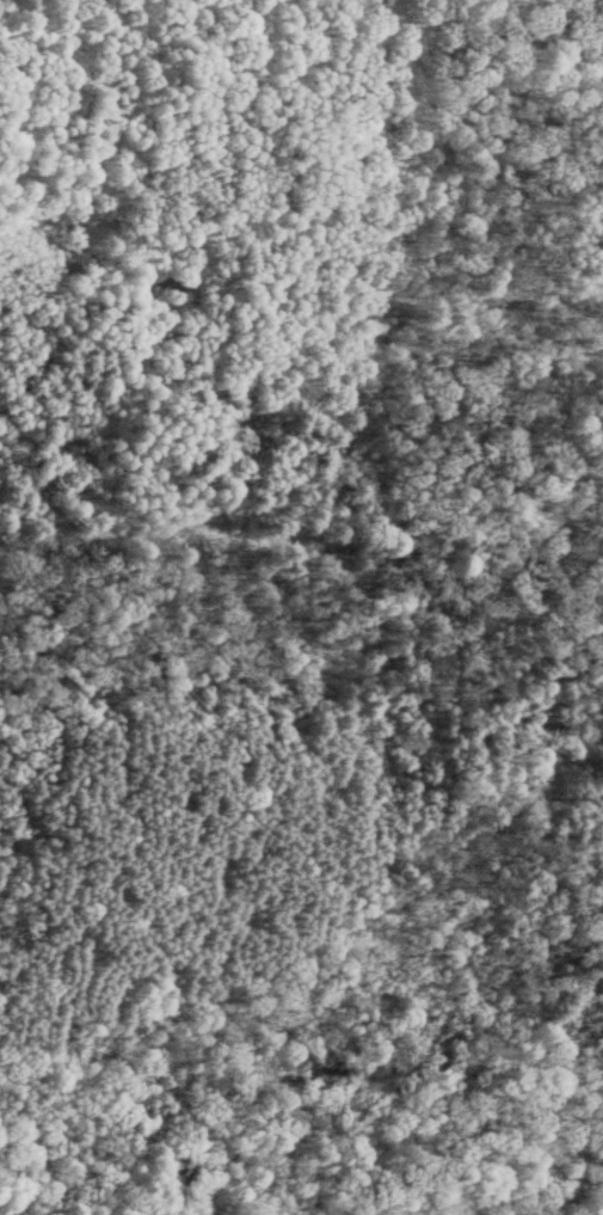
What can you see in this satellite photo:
road: (301, 475)

